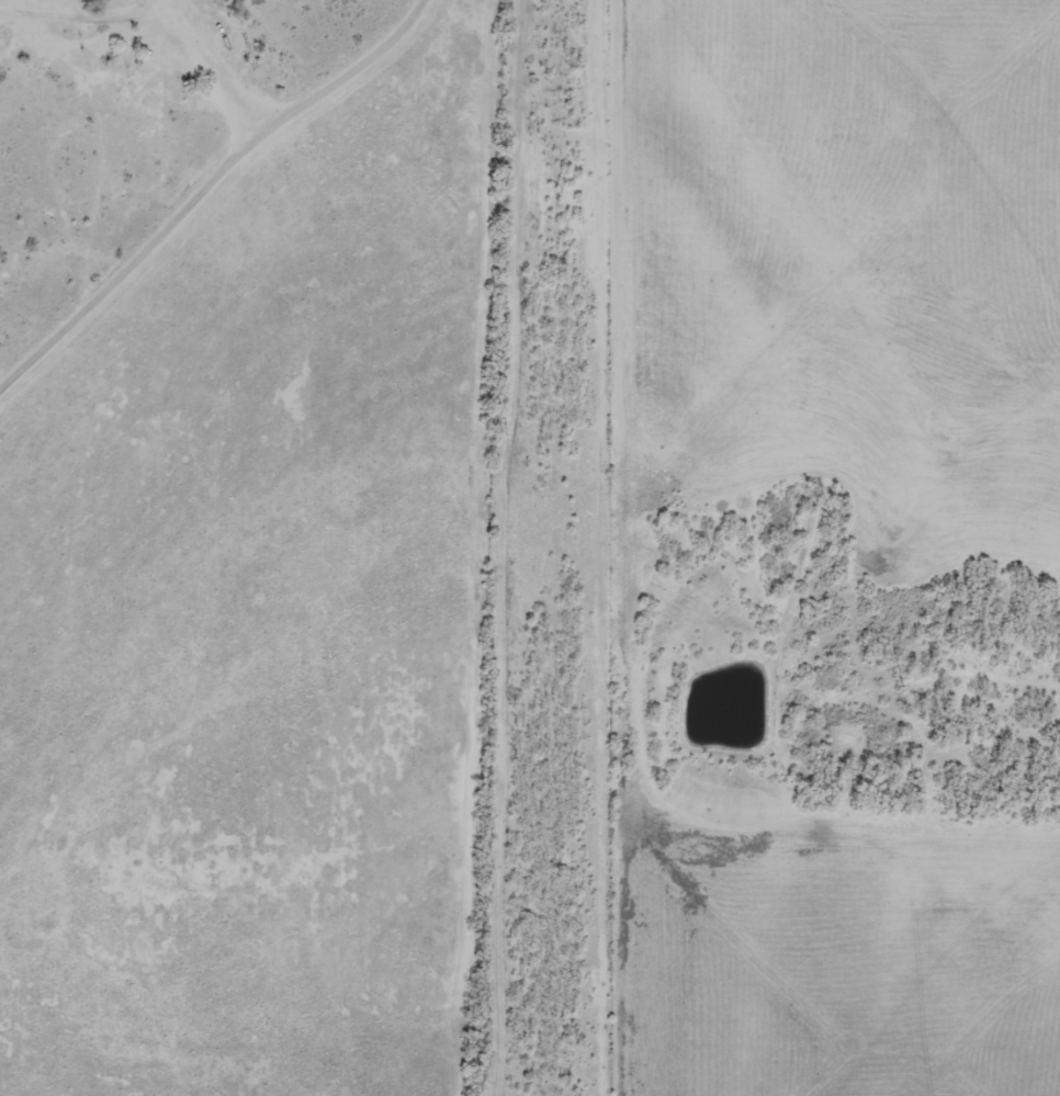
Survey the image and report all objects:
road: (204, 176)
road: (542, 547)

